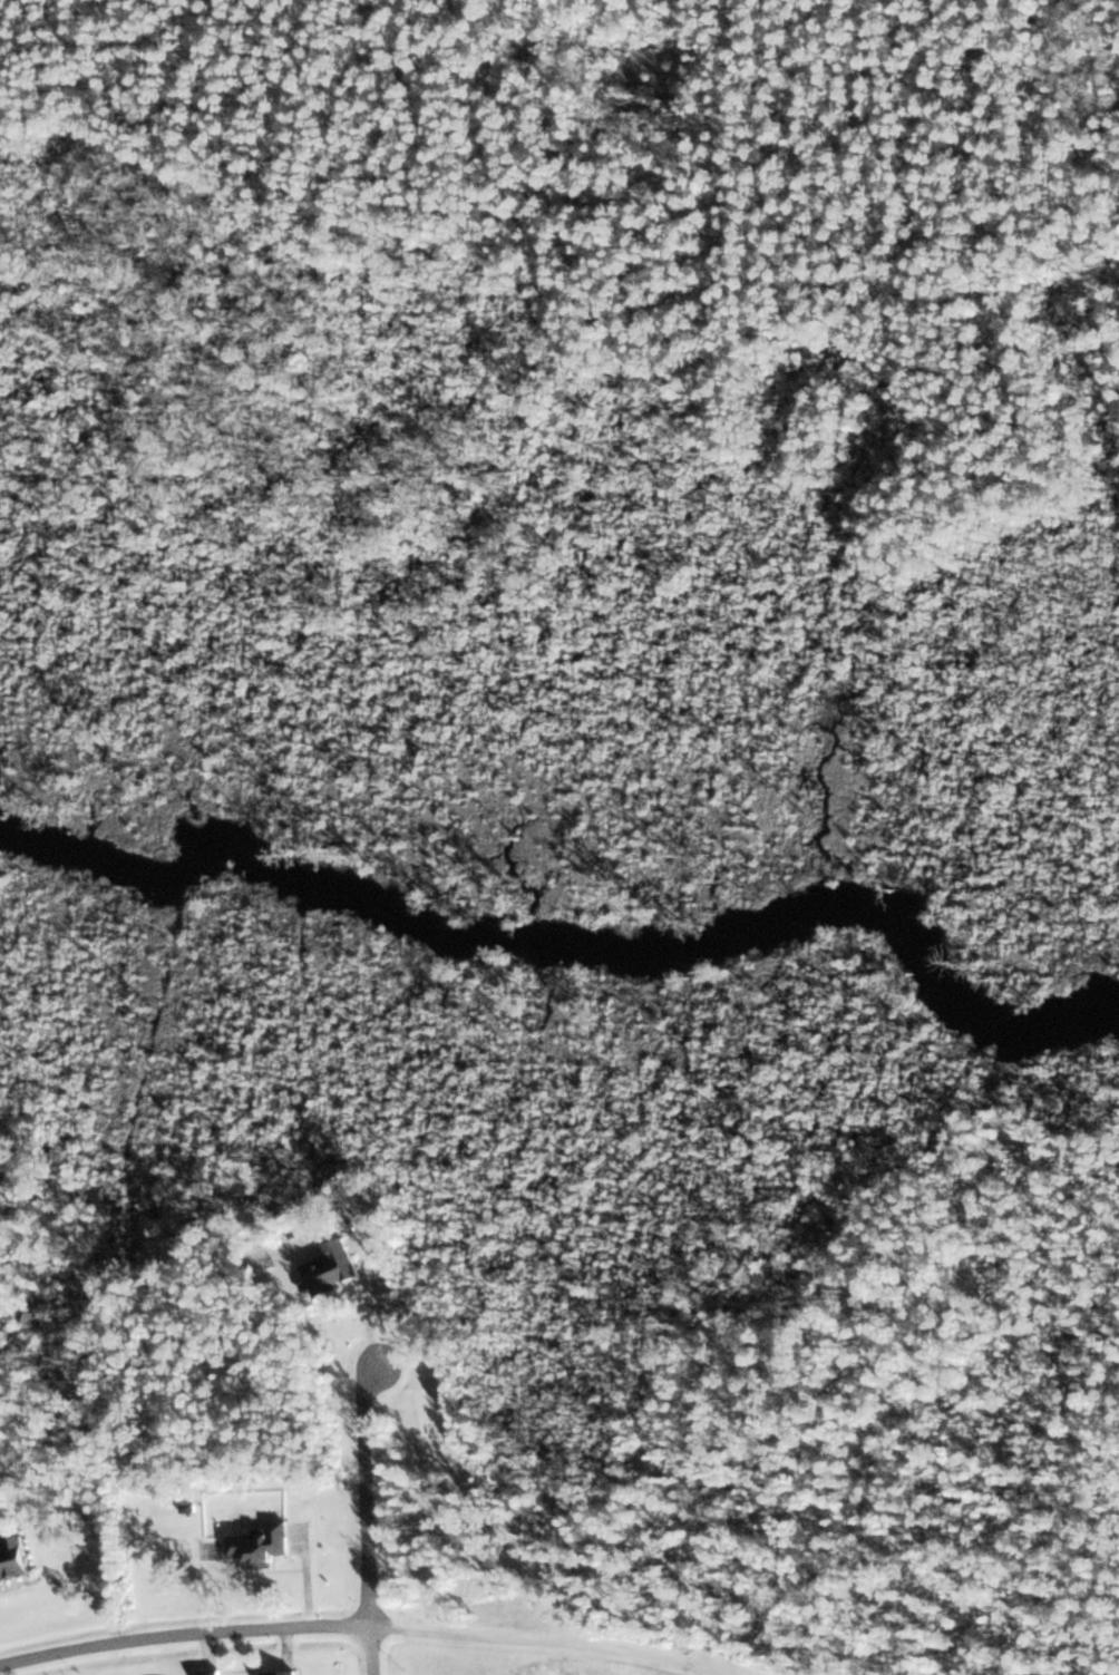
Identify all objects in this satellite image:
road: (367, 1496)
building: (11, 1556)
road: (364, 1625)
road: (373, 1650)
building: (279, 1672)

